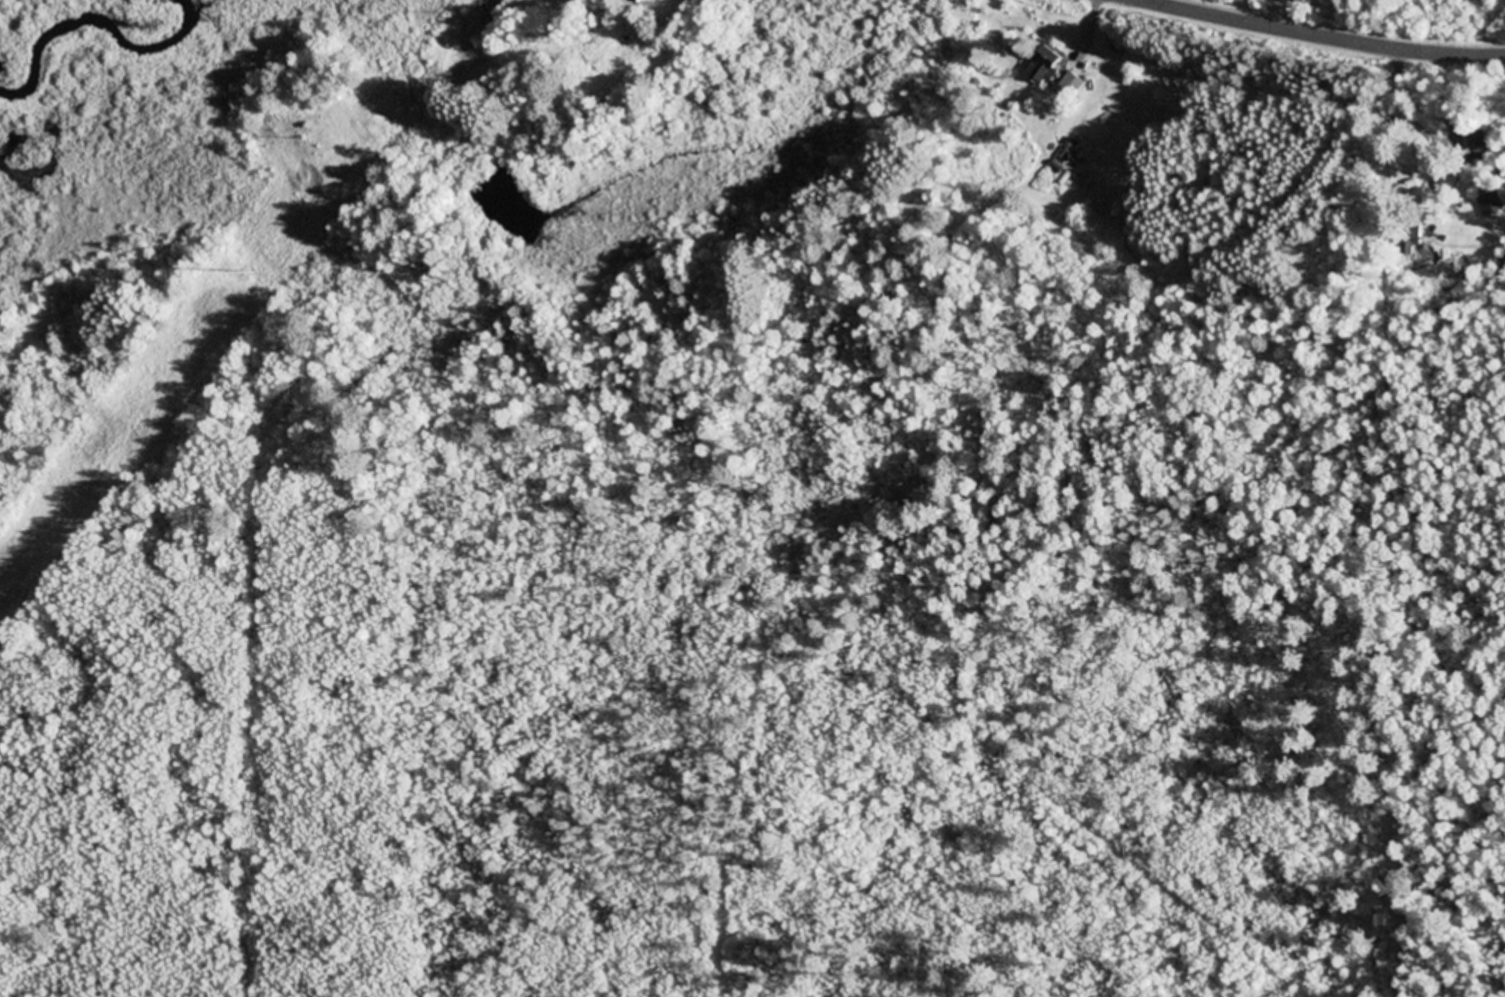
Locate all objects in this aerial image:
building: (640, 1)
road: (1322, 35)
building: (1046, 69)
building: (1073, 86)
building: (1474, 143)
building: (1492, 205)
power tower: (251, 274)

